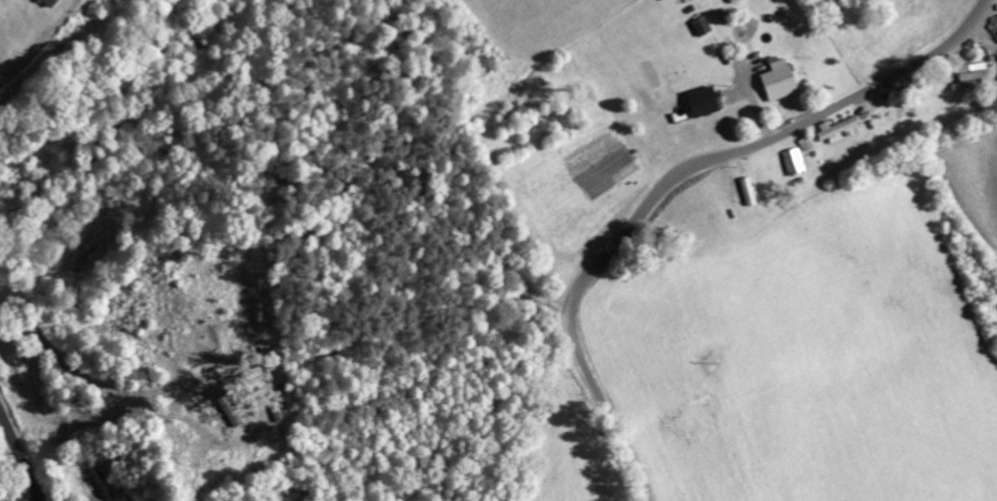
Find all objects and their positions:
building: (47, 3)
building: (699, 28)
building: (969, 76)
building: (775, 83)
building: (702, 104)
building: (836, 132)
building: (791, 163)
road: (670, 180)
building: (746, 193)
building: (278, 415)
road: (19, 456)

